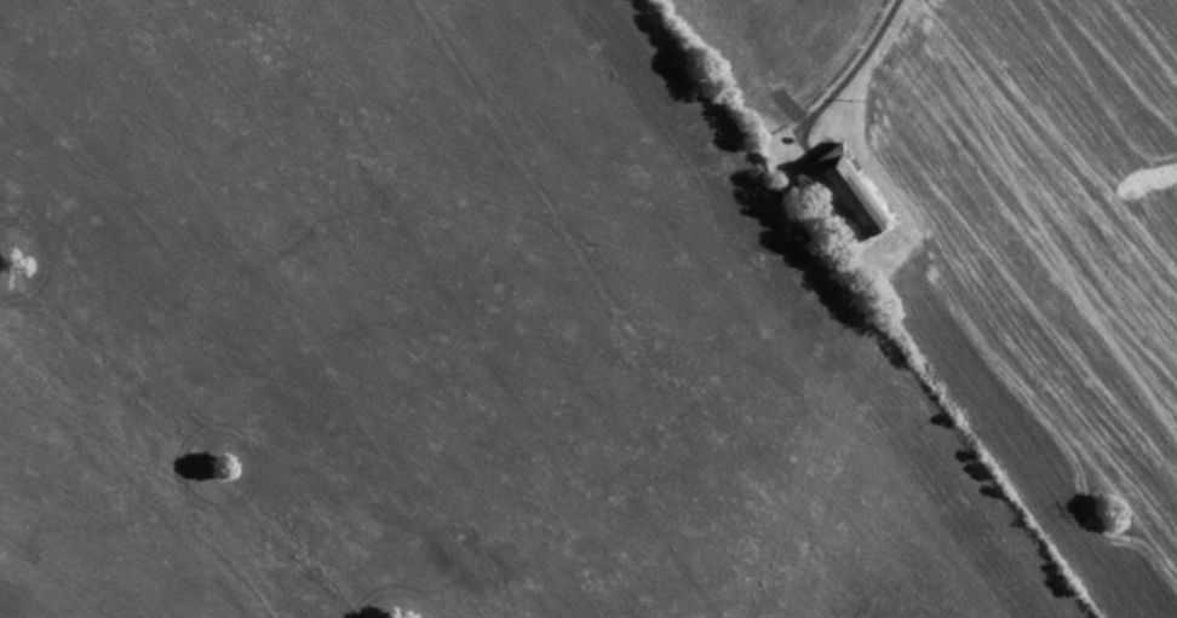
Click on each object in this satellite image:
road: (857, 63)
power tower: (1110, 514)

